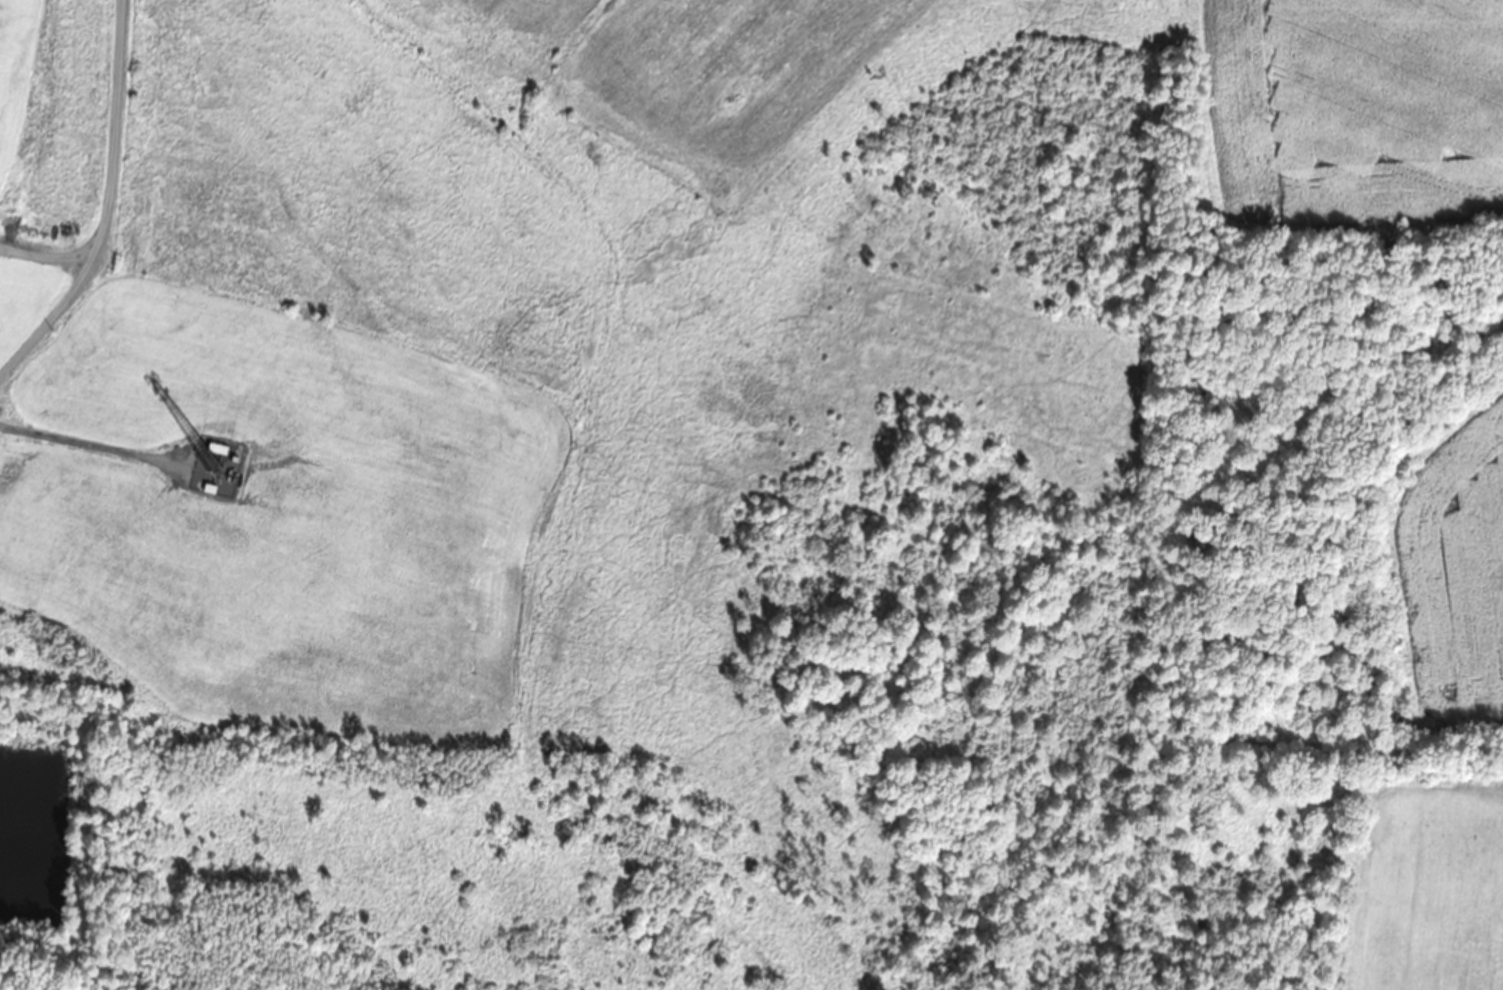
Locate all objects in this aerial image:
road: (121, 122)

